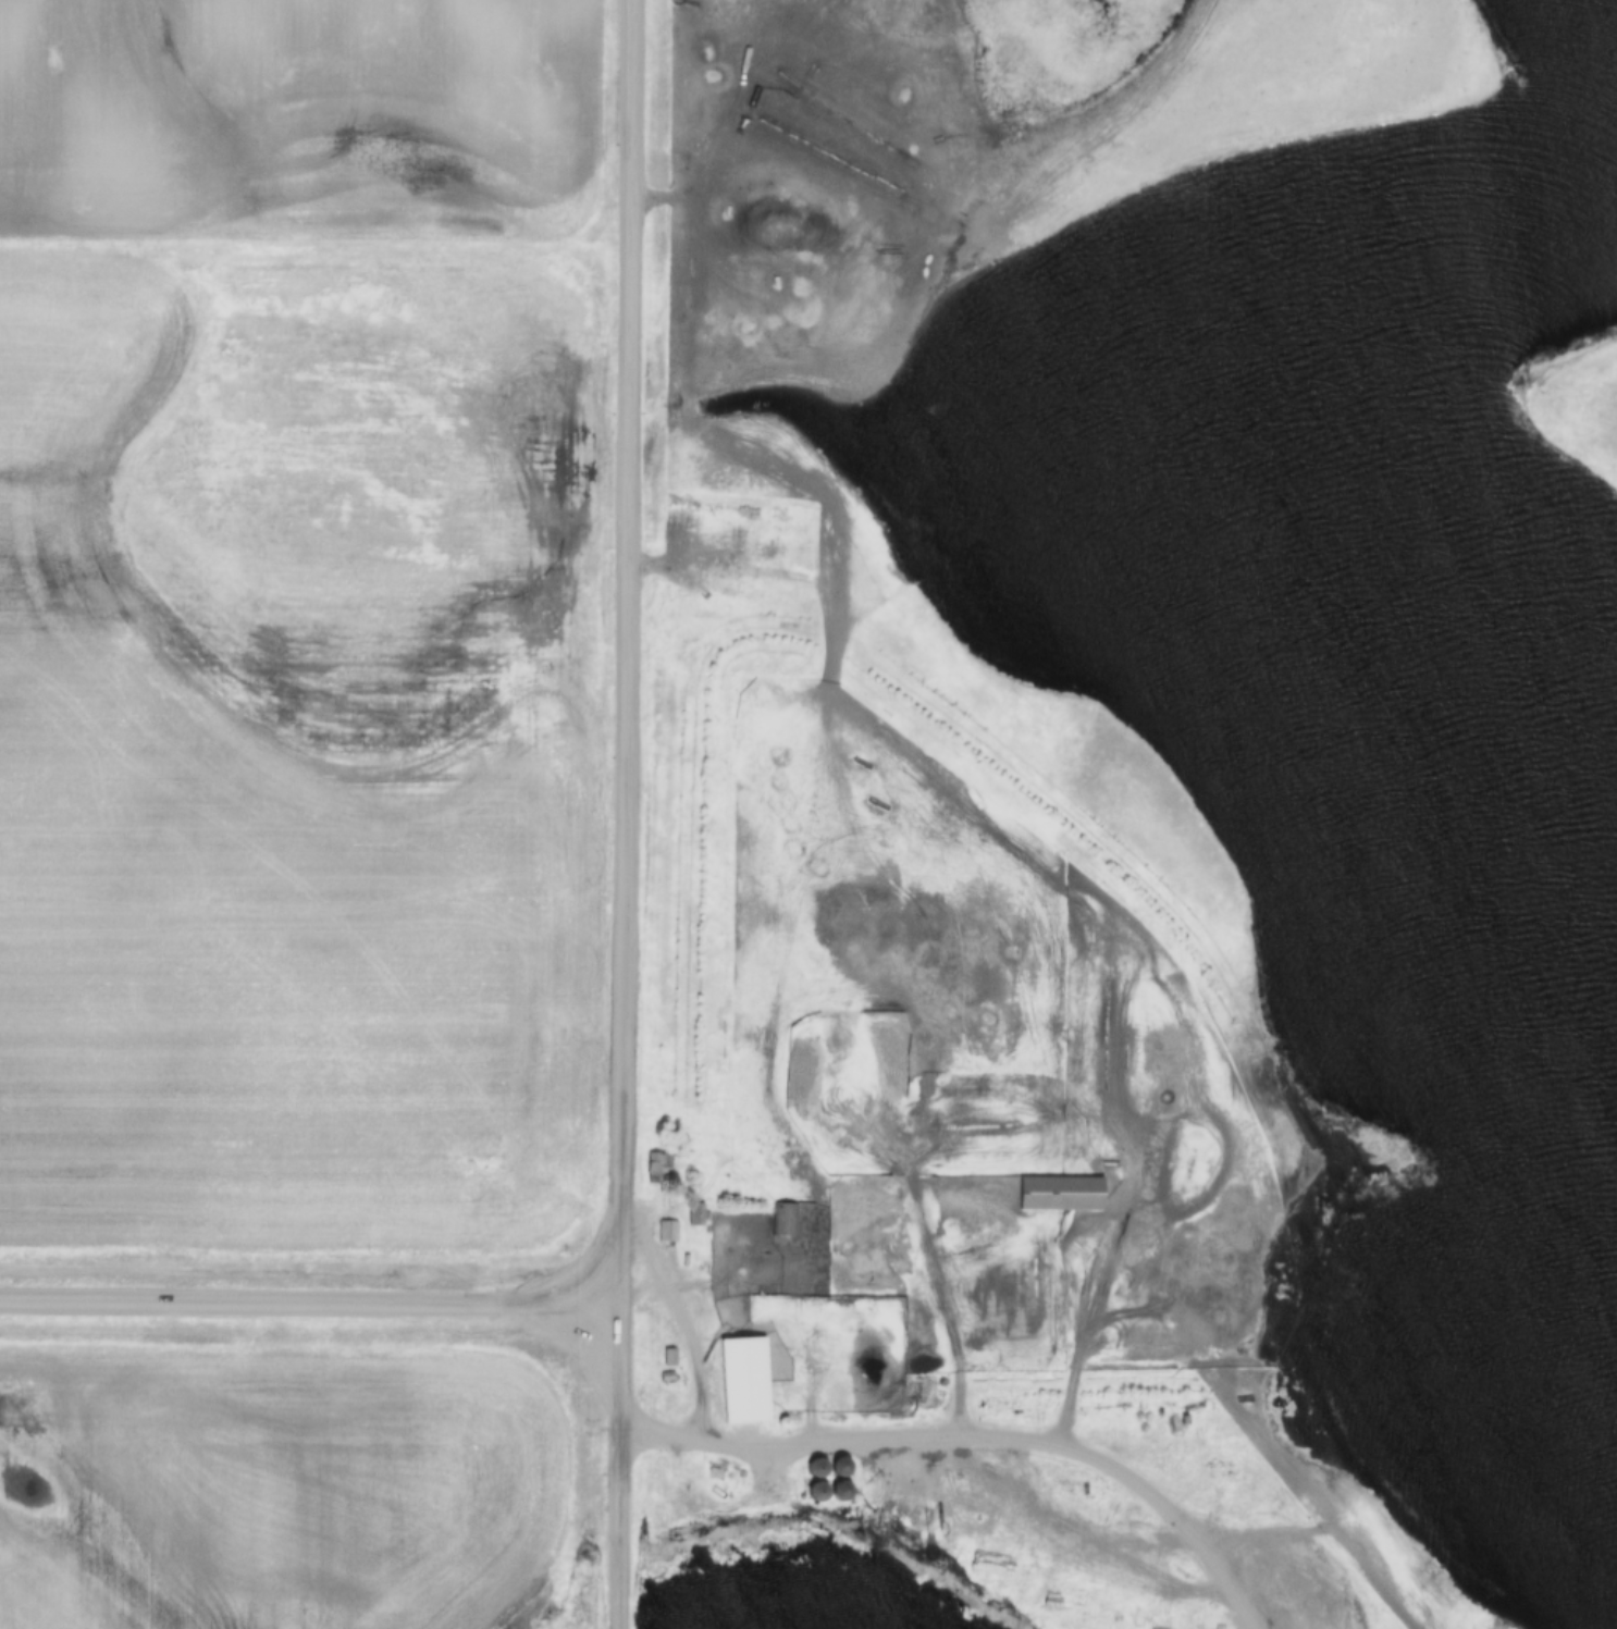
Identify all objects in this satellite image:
road: (627, 814)
building: (658, 1163)
building: (1059, 1194)
building: (786, 1220)
building: (666, 1231)
road: (312, 1301)
road: (688, 1342)
building: (666, 1350)
building: (742, 1363)
building: (761, 1422)
building: (436, 1435)
building: (245, 1437)
building: (814, 1468)
building: (838, 1468)
building: (815, 1490)

